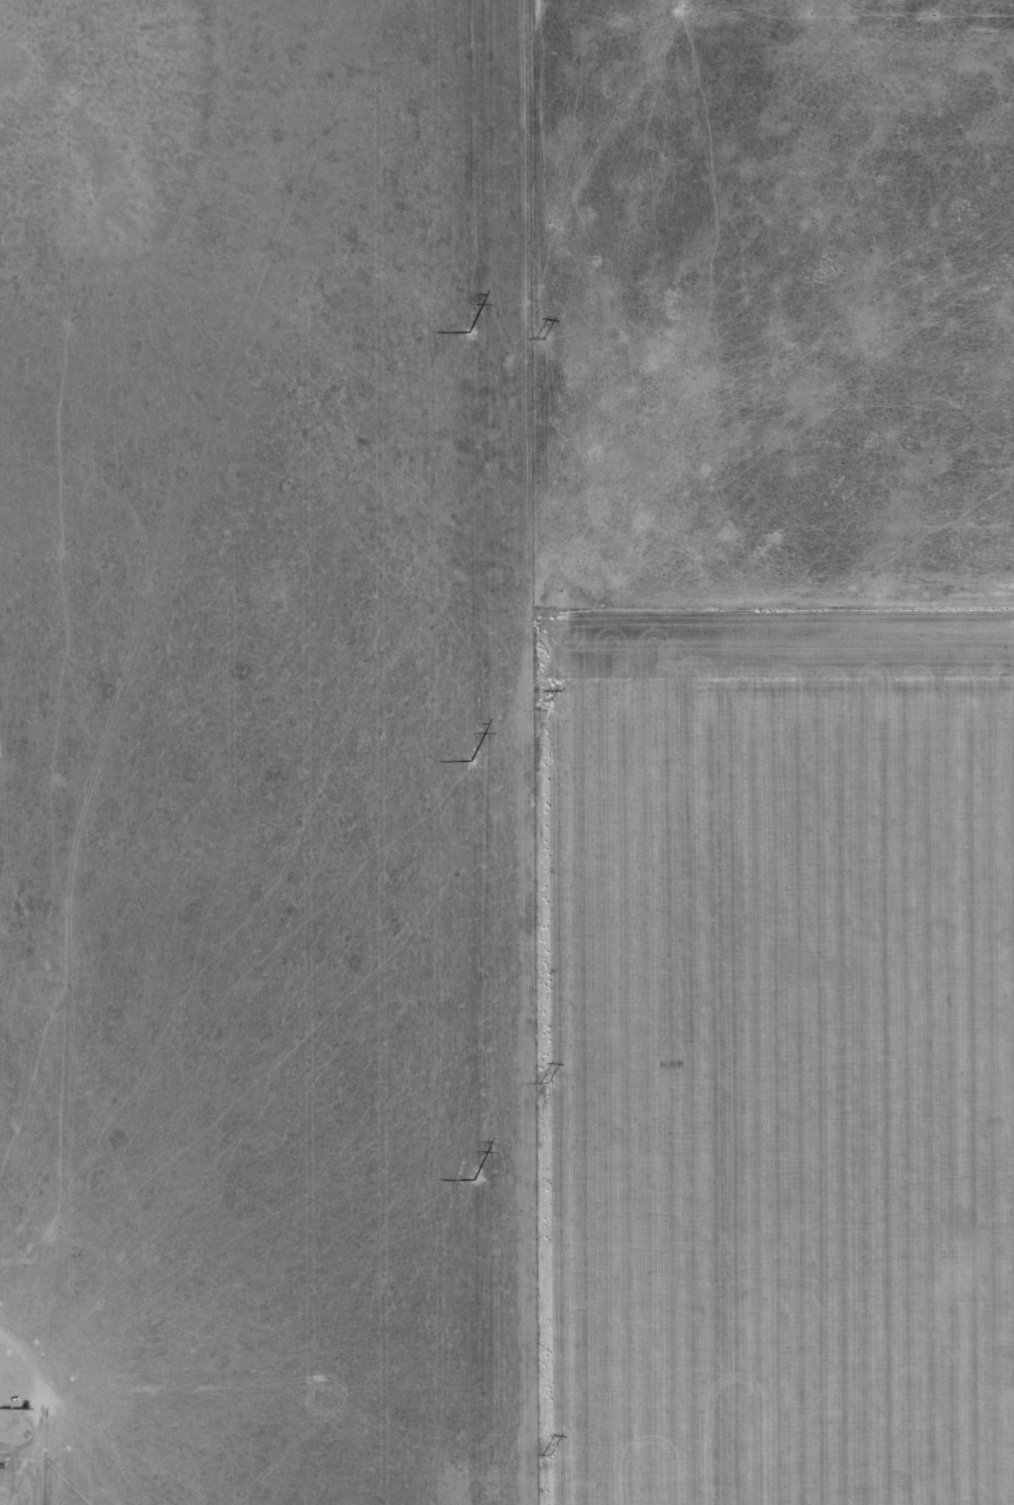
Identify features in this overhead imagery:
power tower: (466, 332)
power tower: (468, 761)
power tower: (471, 1179)

